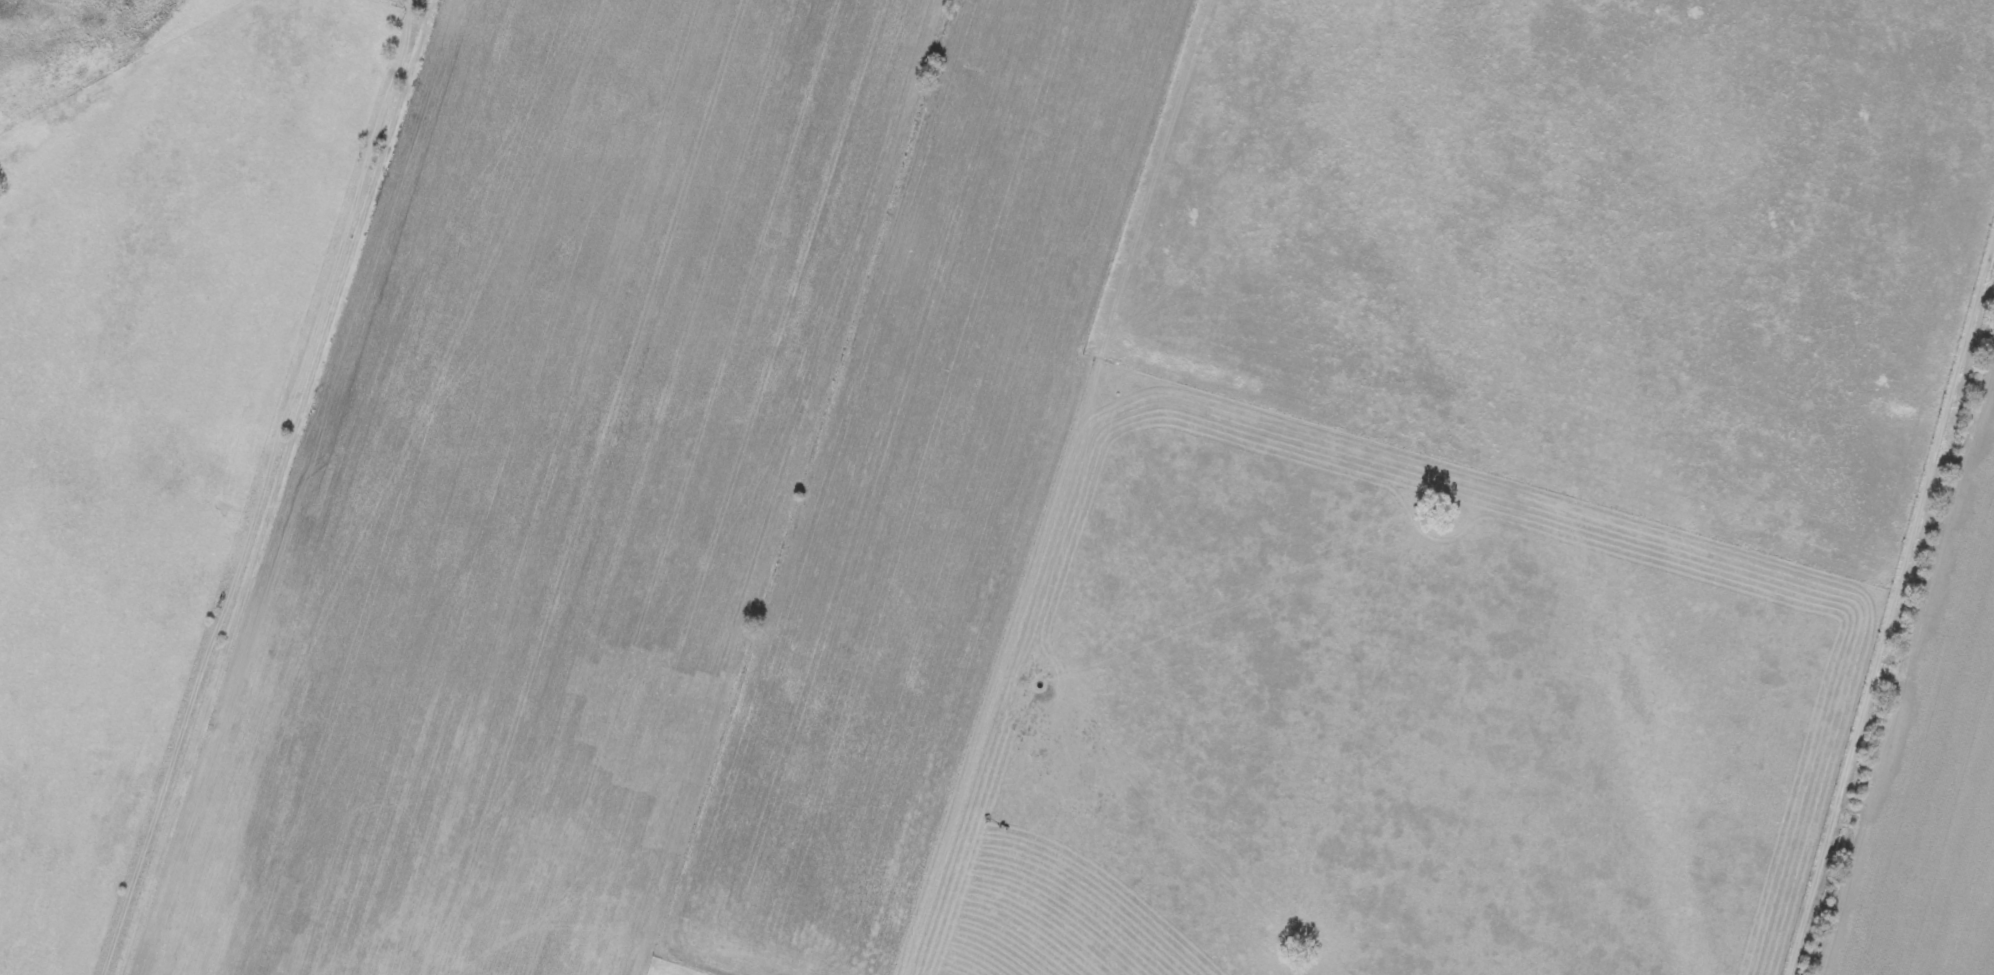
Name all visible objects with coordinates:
road: (293, 487)
road: (1036, 487)

